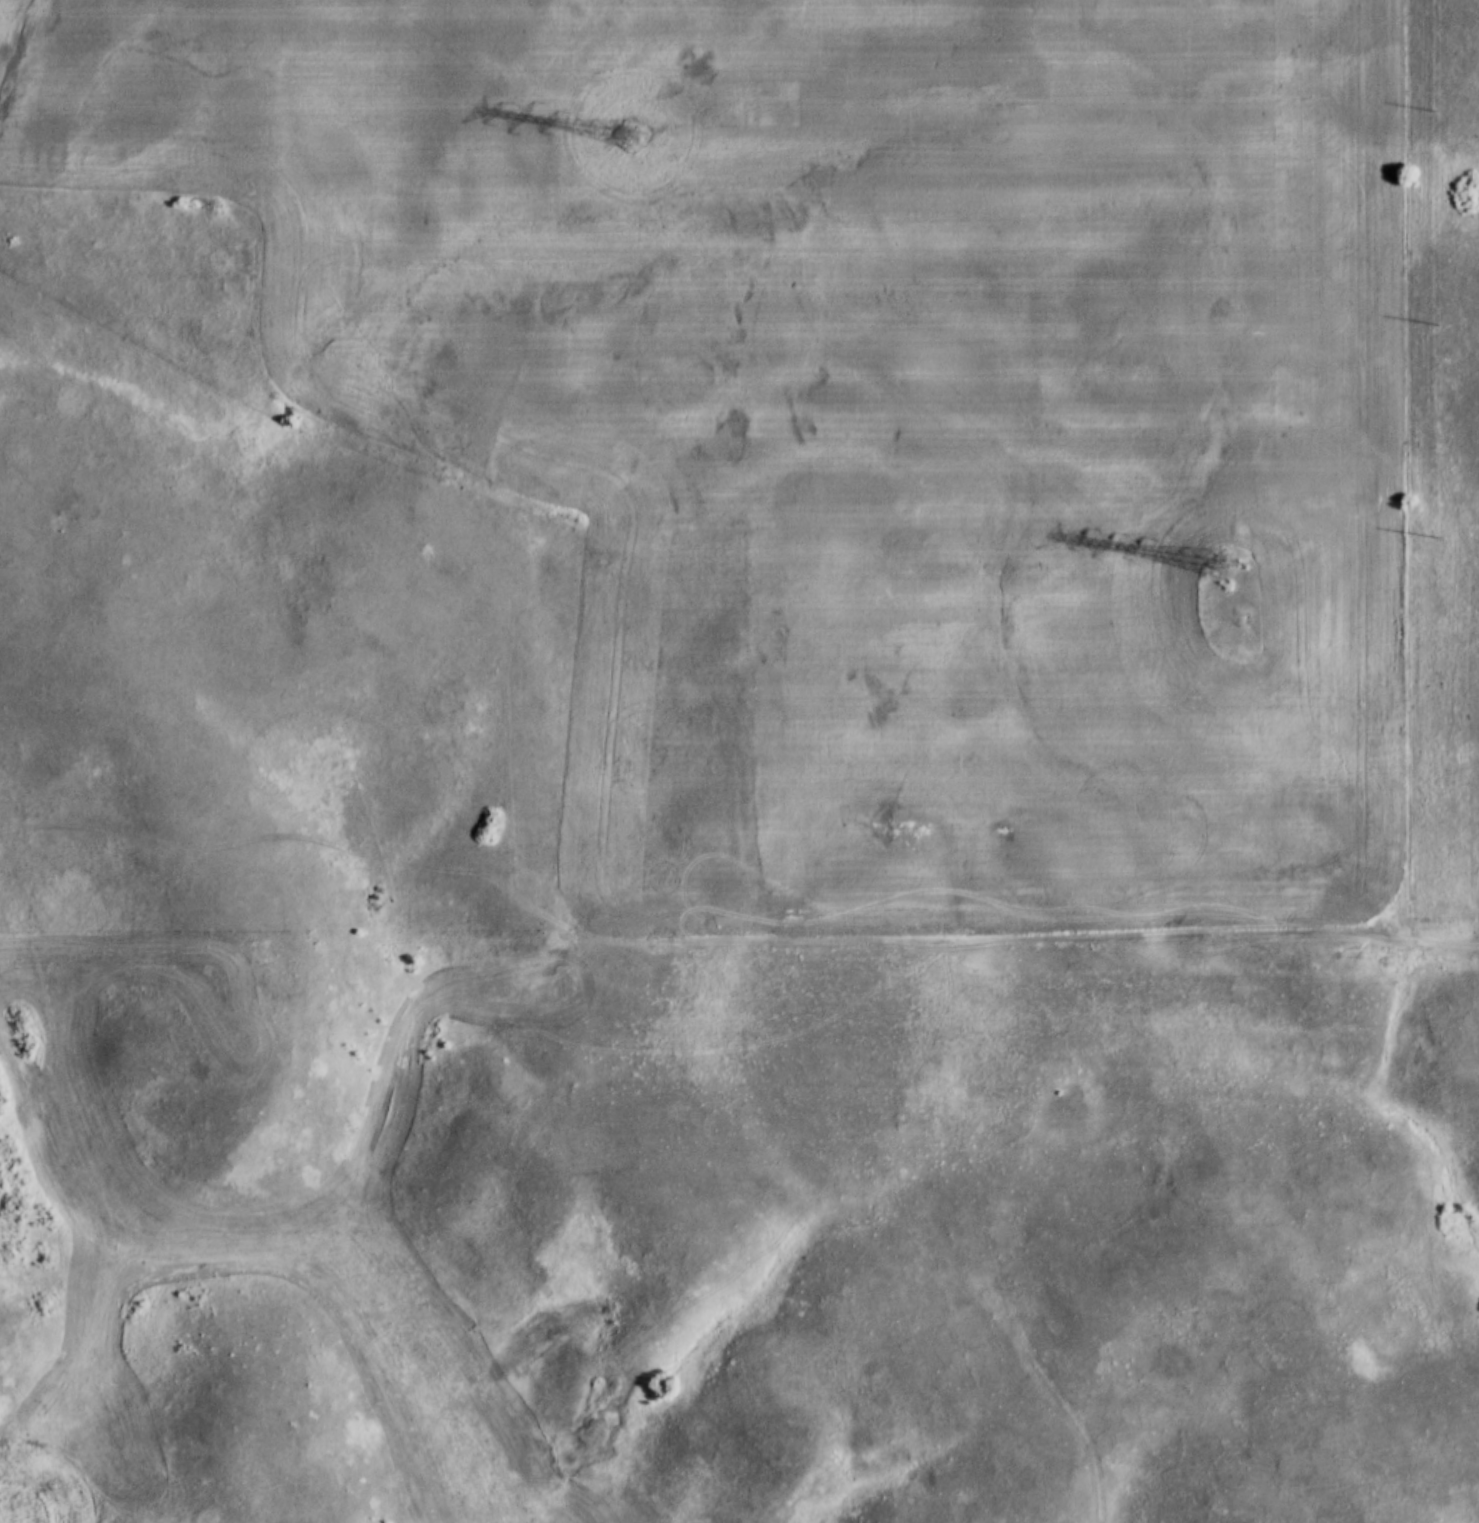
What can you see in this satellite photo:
power tower: (637, 141)
power tower: (1235, 563)
road: (1232, 944)

